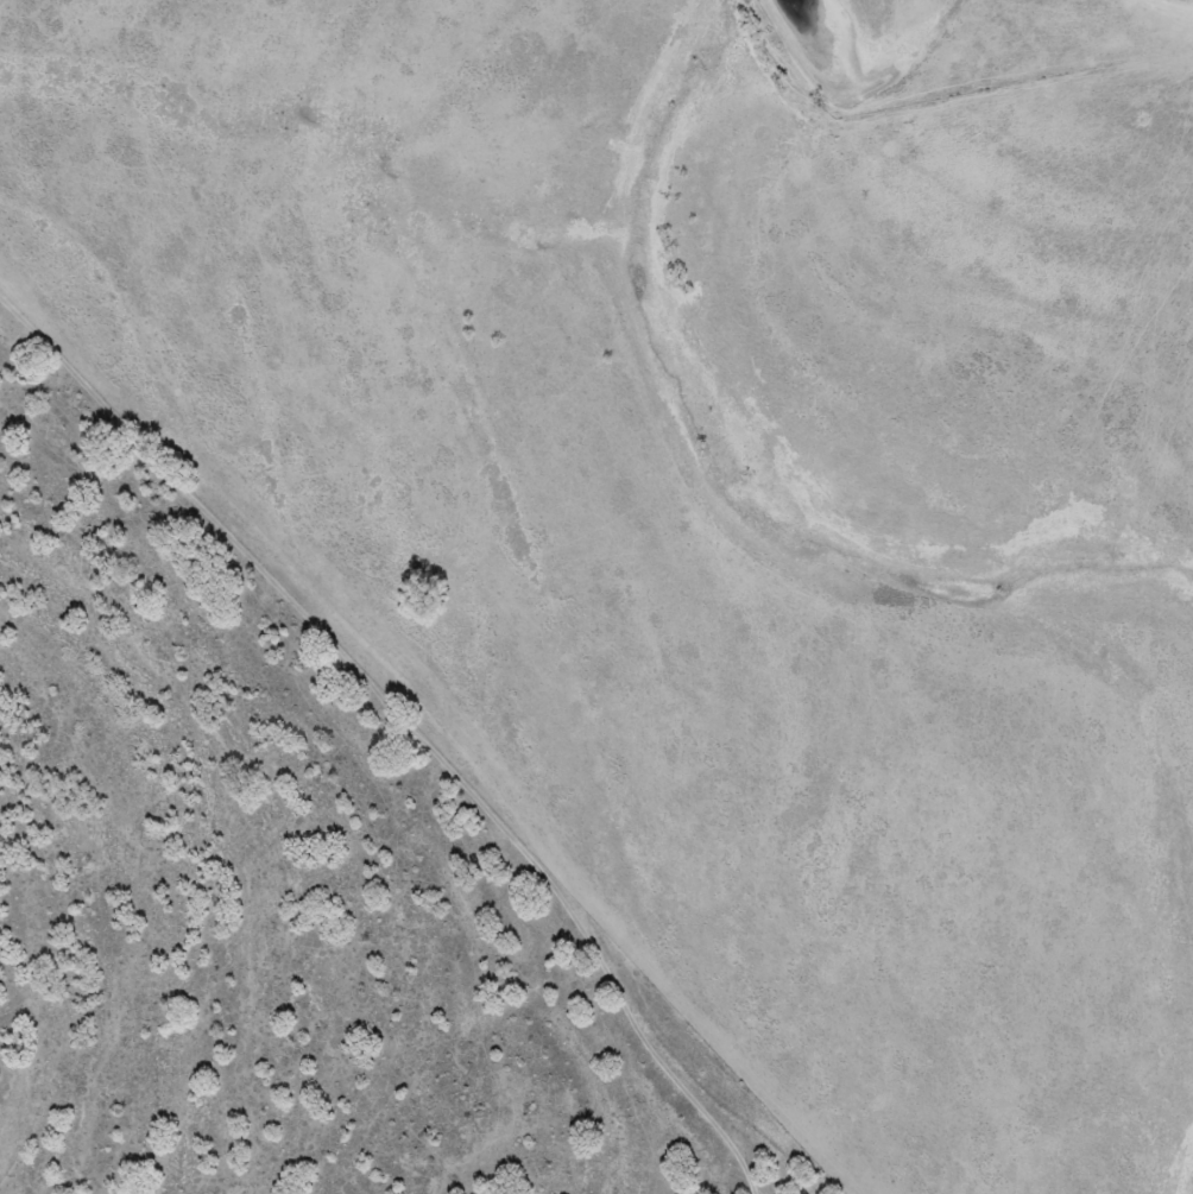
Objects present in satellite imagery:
road: (1178, 2)

